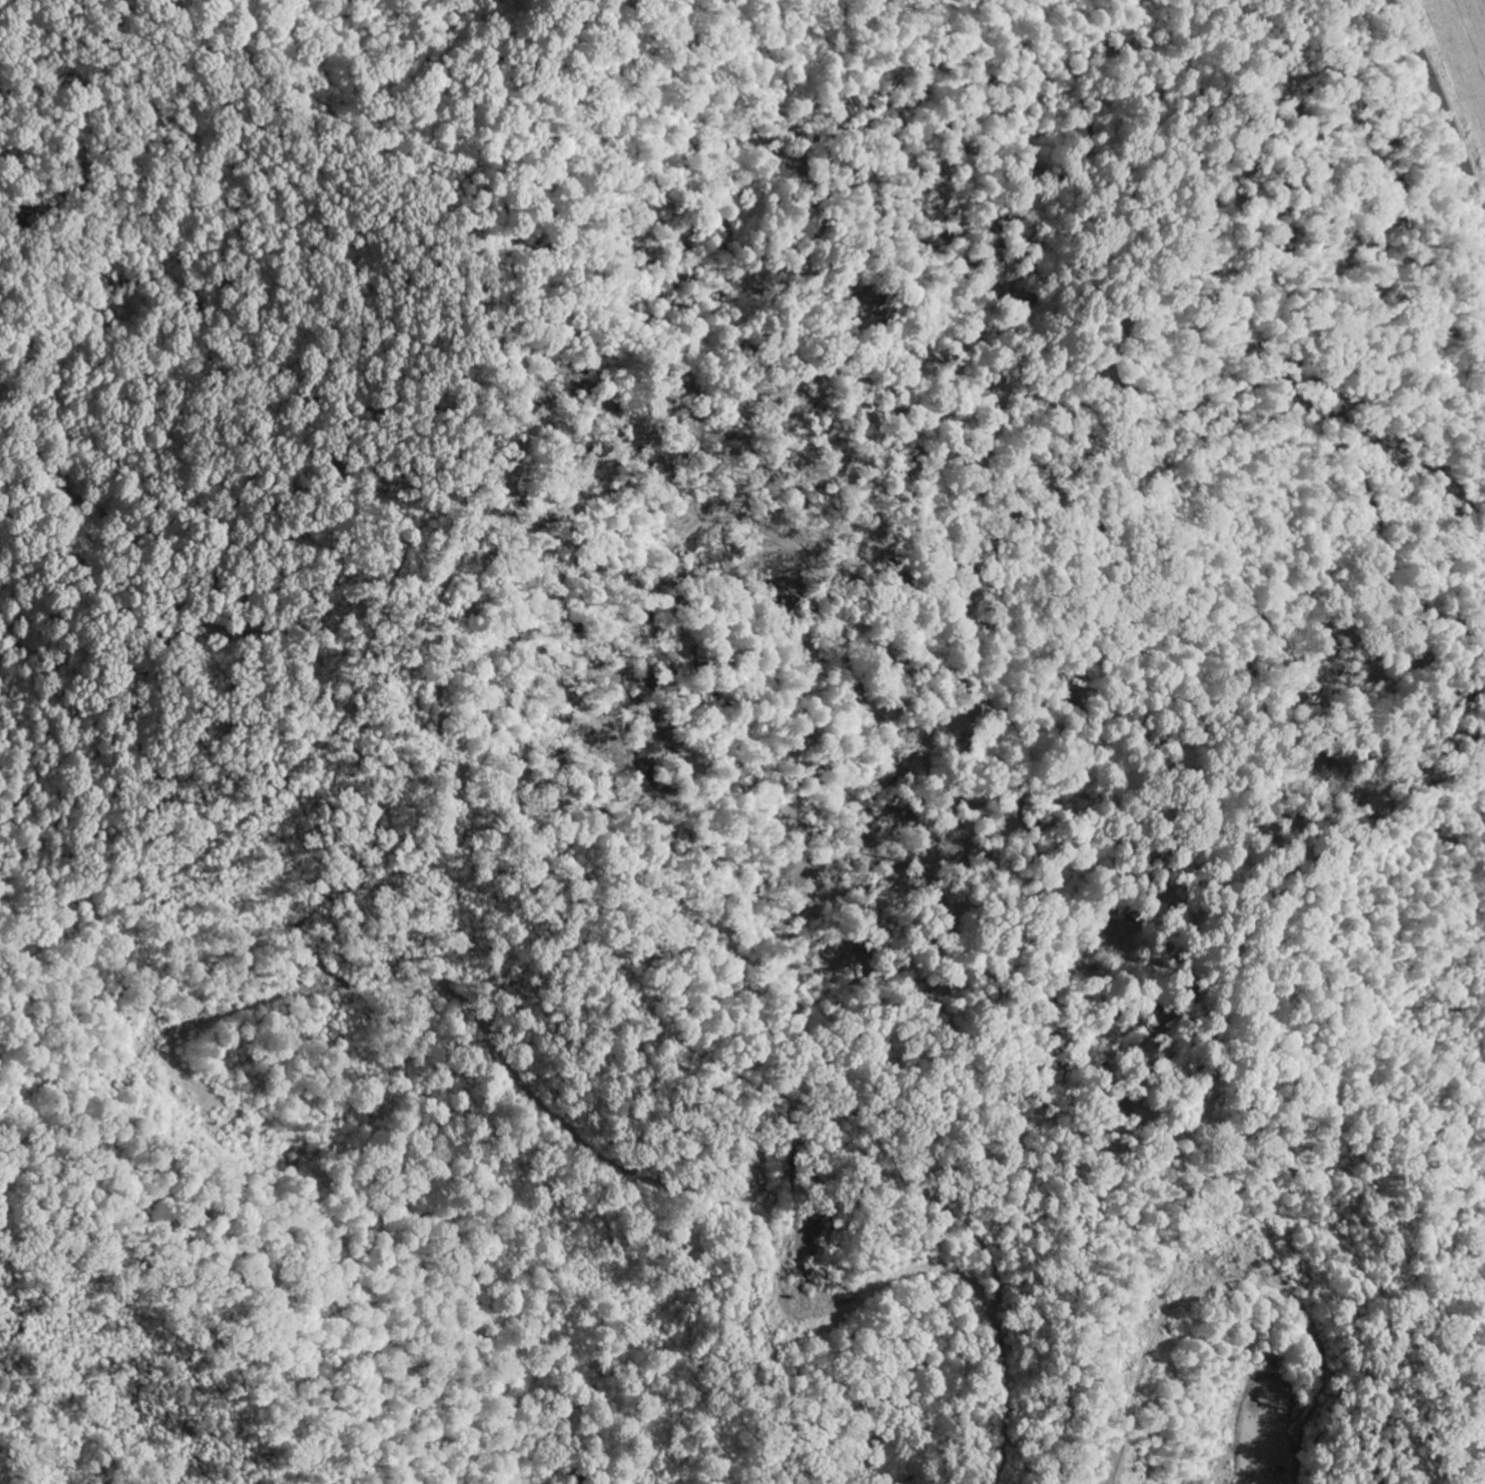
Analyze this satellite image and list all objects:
road: (1448, 90)
building: (1274, 1400)

